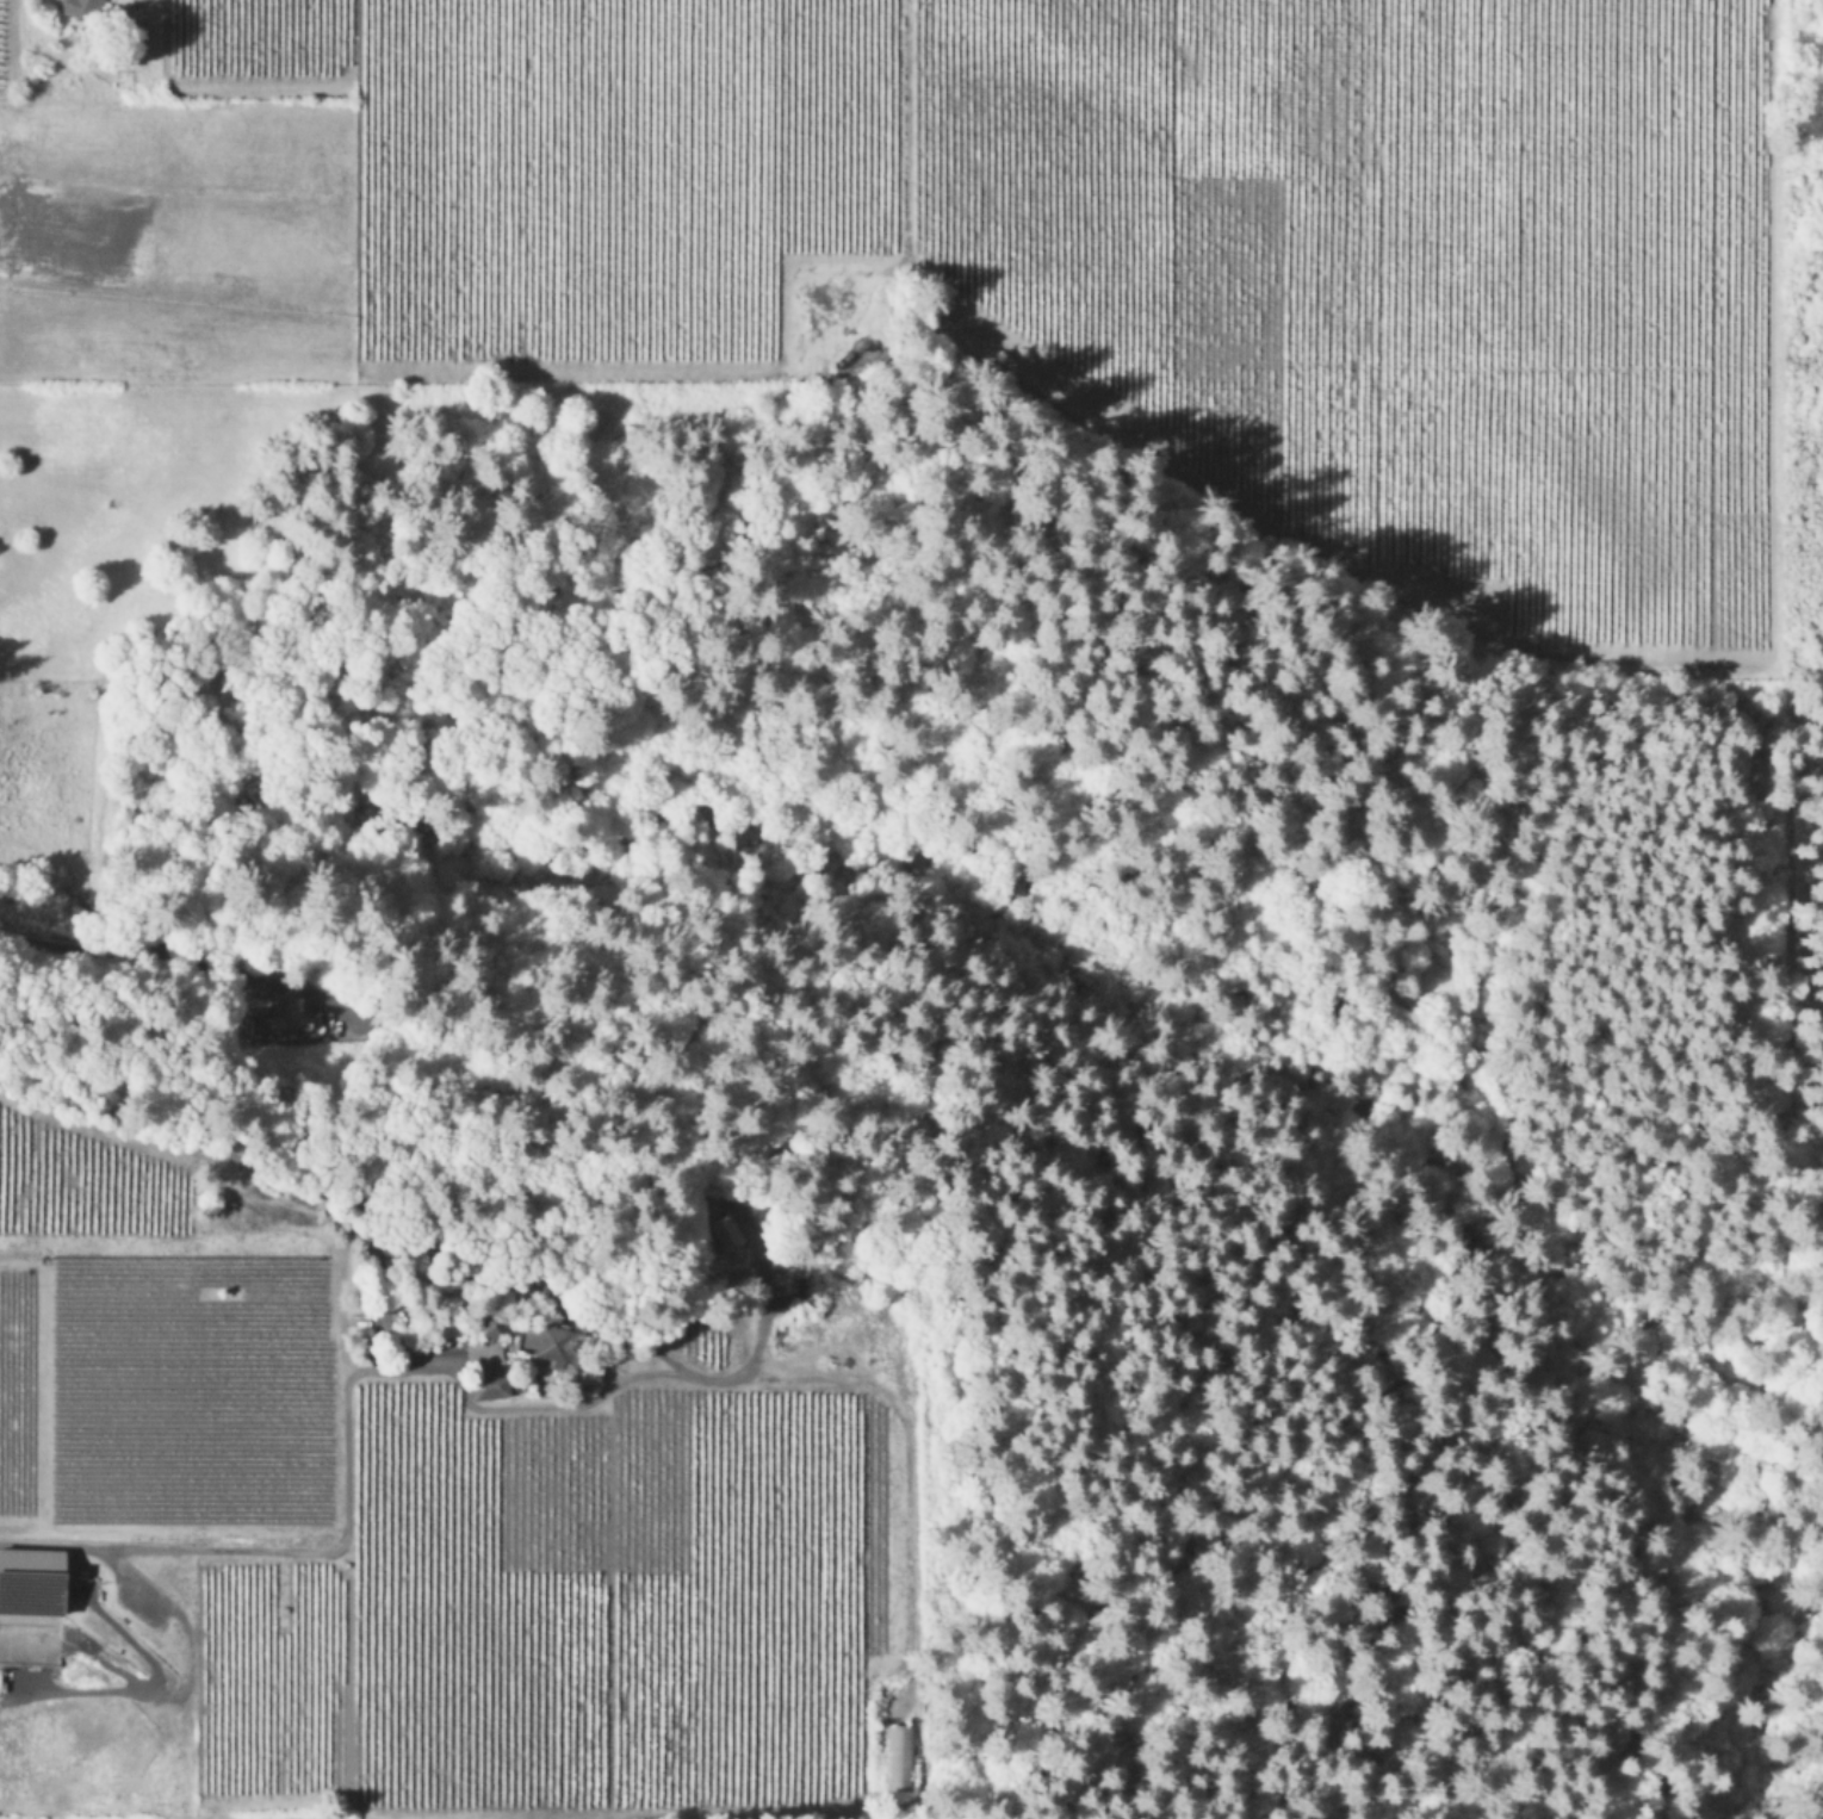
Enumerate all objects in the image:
building: (80, 7)
building: (297, 1012)
road: (98, 1026)
crop: (141, 1198)
building: (550, 1341)
building: (490, 1386)
road: (124, 1690)
building: (901, 1755)

